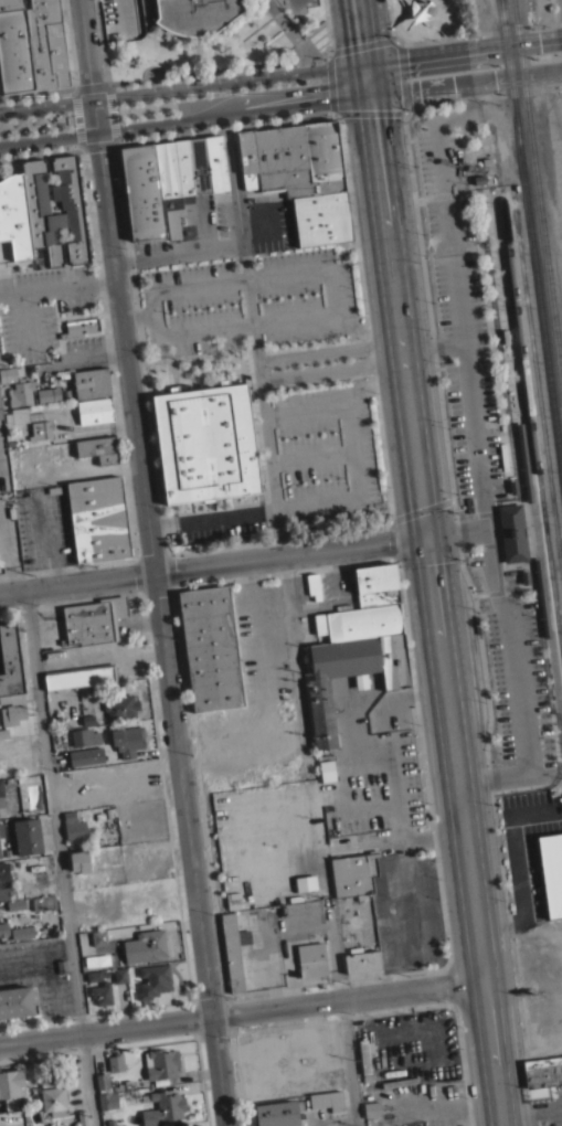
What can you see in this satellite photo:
railway: (522, 7)
railway: (511, 8)
building: (195, 15)
road: (326, 26)
road: (360, 33)
road: (458, 34)
road: (425, 35)
building: (47, 44)
building: (14, 49)
road: (464, 54)
railway: (529, 56)
railway: (518, 57)
traffic signals: (365, 66)
road: (216, 67)
road: (367, 79)
road: (465, 79)
road: (89, 86)
road: (182, 86)
road: (401, 87)
road: (36, 92)
traffic signals: (369, 93)
road: (481, 94)
road: (110, 110)
road: (76, 115)
road: (183, 117)
parking lot: (33, 121)
road: (224, 125)
road: (98, 141)
road: (40, 149)
building: (245, 156)
building: (298, 156)
building: (215, 159)
building: (198, 161)
building: (173, 179)
railway: (538, 185)
building: (141, 188)
road: (235, 190)
road: (447, 192)
building: (38, 208)
railway: (548, 210)
building: (14, 213)
building: (320, 215)
railway: (531, 236)
railway: (542, 254)
road: (124, 261)
road: (57, 285)
road: (336, 310)
parking lot: (31, 312)
road: (363, 314)
road: (137, 317)
road: (250, 322)
building: (83, 326)
building: (503, 332)
road: (316, 342)
railway: (499, 346)
road: (434, 347)
road: (197, 353)
road: (330, 359)
parking lot: (282, 362)
road: (171, 370)
road: (316, 379)
building: (92, 382)
building: (17, 386)
railway: (537, 387)
building: (47, 392)
building: (49, 399)
building: (95, 411)
building: (0, 413)
building: (17, 415)
railway: (531, 422)
parking lot: (478, 428)
building: (41, 429)
building: (204, 439)
building: (99, 448)
road: (477, 448)
road: (312, 457)
building: (523, 463)
building: (512, 482)
road: (356, 496)
road: (488, 501)
road: (402, 513)
road: (495, 513)
road: (532, 516)
building: (98, 519)
parking lot: (31, 523)
road: (162, 523)
road: (456, 529)
building: (511, 529)
road: (280, 531)
traffic signals: (426, 534)
road: (152, 562)
road: (515, 562)
road: (213, 563)
building: (527, 575)
building: (312, 585)
building: (375, 585)
building: (541, 598)
road: (435, 609)
road: (475, 617)
building: (93, 620)
building: (359, 622)
building: (210, 648)
building: (10, 659)
road: (297, 660)
building: (350, 674)
building: (79, 676)
building: (120, 707)
building: (12, 709)
building: (85, 736)
building: (128, 740)
building: (86, 755)
building: (326, 765)
building: (327, 774)
building: (1, 793)
building: (74, 827)
building: (1, 829)
building: (28, 836)
building: (0, 854)
road: (59, 857)
building: (79, 860)
building: (3, 871)
building: (551, 871)
building: (358, 874)
building: (305, 882)
building: (10, 892)
building: (233, 900)
building: (43, 902)
building: (15, 904)
building: (3, 928)
building: (22, 932)
building: (98, 937)
building: (153, 942)
building: (234, 949)
building: (311, 959)
building: (361, 959)
road: (335, 960)
building: (105, 966)
building: (94, 975)
building: (119, 975)
building: (153, 980)
building: (102, 994)
building: (17, 1001)
road: (241, 1010)
building: (364, 1054)
building: (115, 1062)
road: (348, 1062)
building: (542, 1062)
building: (161, 1063)
building: (542, 1076)
building: (11, 1087)
building: (105, 1092)
building: (53, 1098)
building: (327, 1100)
building: (162, 1107)
building: (372, 1109)
building: (278, 1113)
building: (82, 1118)

